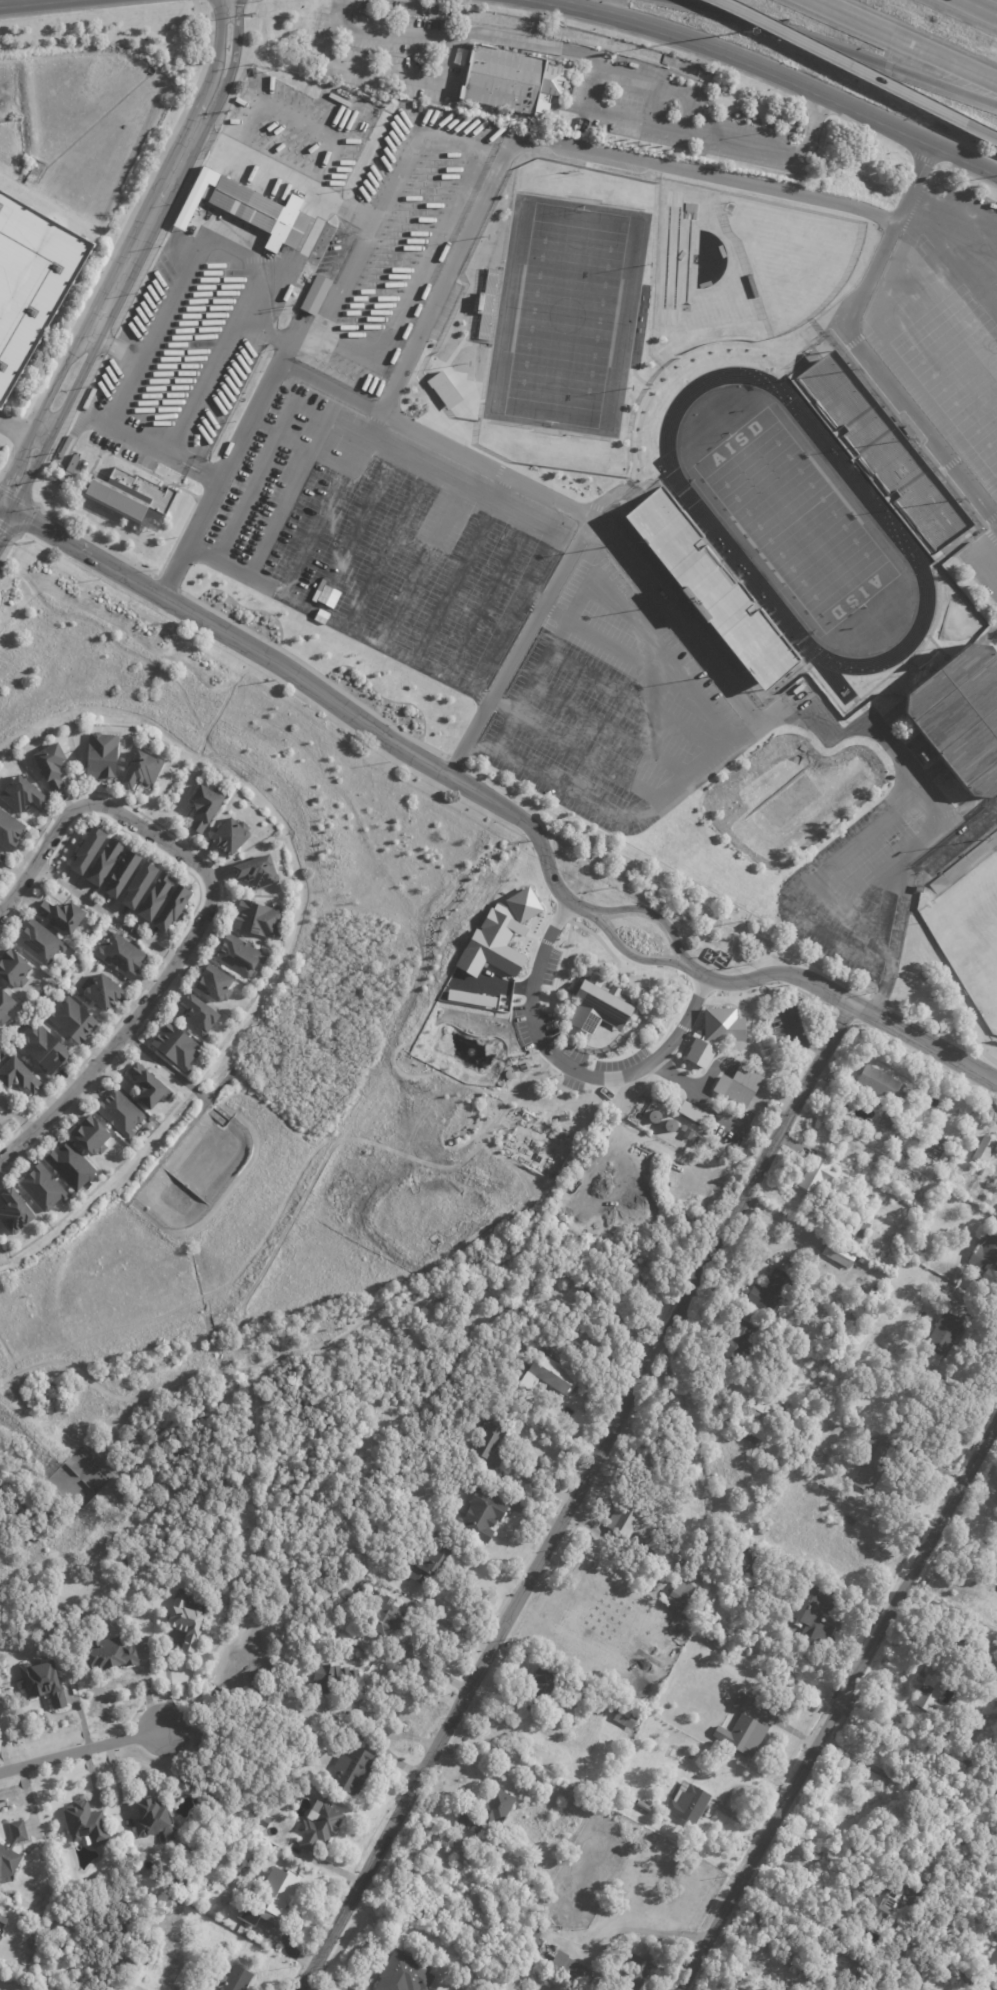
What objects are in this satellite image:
road: (20, 2)
road: (83, 8)
road: (973, 10)
road: (339, 12)
street lamp: (742, 31)
road: (638, 35)
road: (683, 36)
road: (215, 40)
road: (901, 41)
road: (837, 50)
road: (231, 61)
road: (844, 62)
road: (438, 78)
building: (505, 82)
road: (668, 86)
road: (817, 104)
road: (581, 107)
road: (616, 114)
road: (902, 129)
road: (870, 130)
road: (983, 132)
road: (554, 143)
road: (920, 158)
road: (955, 167)
road: (914, 178)
road: (277, 180)
road: (145, 205)
building: (247, 208)
road: (133, 210)
road: (912, 210)
road: (922, 220)
road: (153, 228)
road: (950, 257)
road: (257, 269)
building: (31, 280)
road: (877, 285)
building: (316, 294)
road: (401, 306)
park: (561, 316)
parking lot: (945, 319)
road: (876, 323)
road: (261, 328)
road: (90, 334)
road: (954, 335)
road: (853, 341)
road: (119, 348)
road: (965, 372)
road: (883, 374)
road: (75, 386)
parking lot: (335, 387)
building: (444, 390)
road: (46, 400)
road: (940, 405)
road: (978, 412)
road: (111, 417)
road: (261, 425)
road: (401, 426)
road: (370, 427)
road: (43, 429)
road: (21, 433)
road: (989, 449)
road: (311, 450)
building: (880, 450)
road: (195, 461)
road: (6, 464)
road: (132, 464)
building: (71, 466)
road: (91, 469)
road: (31, 472)
road: (6, 481)
road: (164, 483)
road: (500, 490)
building: (130, 494)
road: (287, 500)
road: (6, 507)
road: (29, 513)
track: (701, 515)
road: (322, 518)
park: (794, 519)
track: (794, 520)
road: (6, 524)
stadium: (801, 526)
road: (181, 528)
road: (353, 533)
road: (94, 542)
road: (545, 543)
road: (7, 545)
road: (982, 546)
road: (386, 550)
road: (996, 563)
parking lot: (983, 564)
road: (421, 567)
road: (166, 583)
road: (453, 583)
building: (709, 588)
road: (649, 597)
road: (487, 600)
road: (529, 601)
road: (610, 604)
building: (686, 610)
road: (516, 647)
road: (617, 649)
road: (544, 659)
road: (313, 672)
road: (691, 688)
road: (317, 691)
road: (477, 696)
road: (631, 700)
building: (963, 716)
road: (607, 728)
road: (844, 730)
road: (570, 749)
building: (96, 754)
road: (454, 761)
building: (46, 765)
building: (137, 769)
road: (338, 788)
building: (17, 794)
building: (199, 805)
road: (618, 818)
building: (7, 831)
building: (226, 834)
road: (179, 838)
road: (148, 847)
road: (910, 848)
building: (89, 849)
road: (183, 855)
building: (1, 857)
building: (105, 862)
building: (963, 863)
road: (582, 868)
building: (253, 870)
road: (43, 872)
building: (123, 873)
road: (814, 876)
road: (898, 879)
road: (664, 883)
building: (140, 884)
building: (920, 889)
road: (903, 890)
building: (156, 897)
road: (18, 904)
road: (843, 906)
building: (174, 907)
road: (575, 909)
road: (105, 913)
building: (56, 914)
road: (658, 917)
building: (253, 918)
road: (1, 929)
park: (970, 934)
building: (498, 935)
road: (531, 935)
road: (597, 939)
road: (546, 942)
road: (877, 945)
building: (31, 946)
road: (883, 953)
building: (121, 954)
road: (166, 955)
building: (234, 955)
road: (635, 958)
road: (589, 959)
building: (10, 968)
road: (772, 973)
road: (481, 983)
building: (209, 984)
road: (522, 989)
building: (103, 991)
road: (878, 999)
building: (3, 1002)
building: (597, 1006)
road: (635, 1007)
building: (194, 1015)
building: (2, 1018)
building: (68, 1019)
road: (682, 1027)
building: (786, 1027)
road: (942, 1030)
road: (695, 1034)
building: (714, 1034)
road: (132, 1040)
road: (584, 1041)
road: (916, 1041)
road: (99, 1043)
road: (616, 1045)
building: (172, 1047)
building: (39, 1048)
road: (579, 1048)
road: (166, 1066)
road: (569, 1067)
road: (711, 1073)
building: (15, 1075)
building: (143, 1084)
building: (738, 1085)
building: (881, 1085)
road: (760, 1091)
road: (697, 1093)
road: (53, 1111)
building: (115, 1111)
road: (68, 1113)
road: (15, 1116)
building: (564, 1117)
building: (728, 1121)
road: (23, 1122)
building: (885, 1122)
building: (1, 1125)
building: (684, 1128)
building: (1, 1130)
road: (183, 1131)
building: (87, 1134)
building: (688, 1134)
road: (9, 1135)
building: (899, 1149)
building: (985, 1150)
building: (904, 1151)
building: (909, 1155)
building: (928, 1160)
building: (66, 1165)
building: (819, 1173)
building: (675, 1178)
road: (753, 1178)
building: (38, 1186)
building: (10, 1211)
building: (859, 1228)
building: (840, 1253)
building: (986, 1258)
building: (790, 1259)
building: (860, 1261)
building: (787, 1266)
building: (880, 1274)
building: (877, 1290)
building: (863, 1291)
building: (769, 1292)
building: (855, 1331)
road: (343, 1334)
building: (946, 1334)
building: (742, 1335)
building: (898, 1353)
road: (652, 1358)
building: (549, 1374)
road: (250, 1386)
building: (787, 1388)
building: (786, 1405)
building: (764, 1415)
building: (751, 1435)
building: (492, 1445)
building: (655, 1459)
building: (874, 1462)
building: (717, 1475)
building: (482, 1516)
building: (635, 1516)
building: (664, 1551)
road: (920, 1557)
building: (431, 1562)
building: (754, 1562)
building: (680, 1597)
building: (816, 1616)
building: (387, 1617)
building: (186, 1623)
road: (413, 1632)
building: (714, 1641)
building: (110, 1652)
building: (989, 1657)
road: (472, 1677)
building: (43, 1682)
building: (339, 1682)
road: (171, 1685)
building: (934, 1685)
building: (540, 1688)
road: (839, 1700)
building: (624, 1715)
building: (744, 1730)
road: (390, 1734)
road: (80, 1750)
road: (4, 1757)
building: (692, 1758)
building: (353, 1772)
road: (919, 1789)
building: (633, 1799)
building: (689, 1802)
building: (643, 1806)
building: (489, 1812)
building: (152, 1816)
building: (261, 1819)
building: (86, 1823)
building: (319, 1826)
road: (757, 1848)
building: (12, 1849)
building: (815, 1855)
building: (271, 1899)
building: (882, 1901)
building: (2, 1921)
building: (532, 1935)
building: (996, 1936)
building: (794, 1952)
building: (994, 1960)
building: (572, 1966)
building: (636, 1972)
building: (404, 1973)
building: (972, 1976)
building: (234, 1979)

